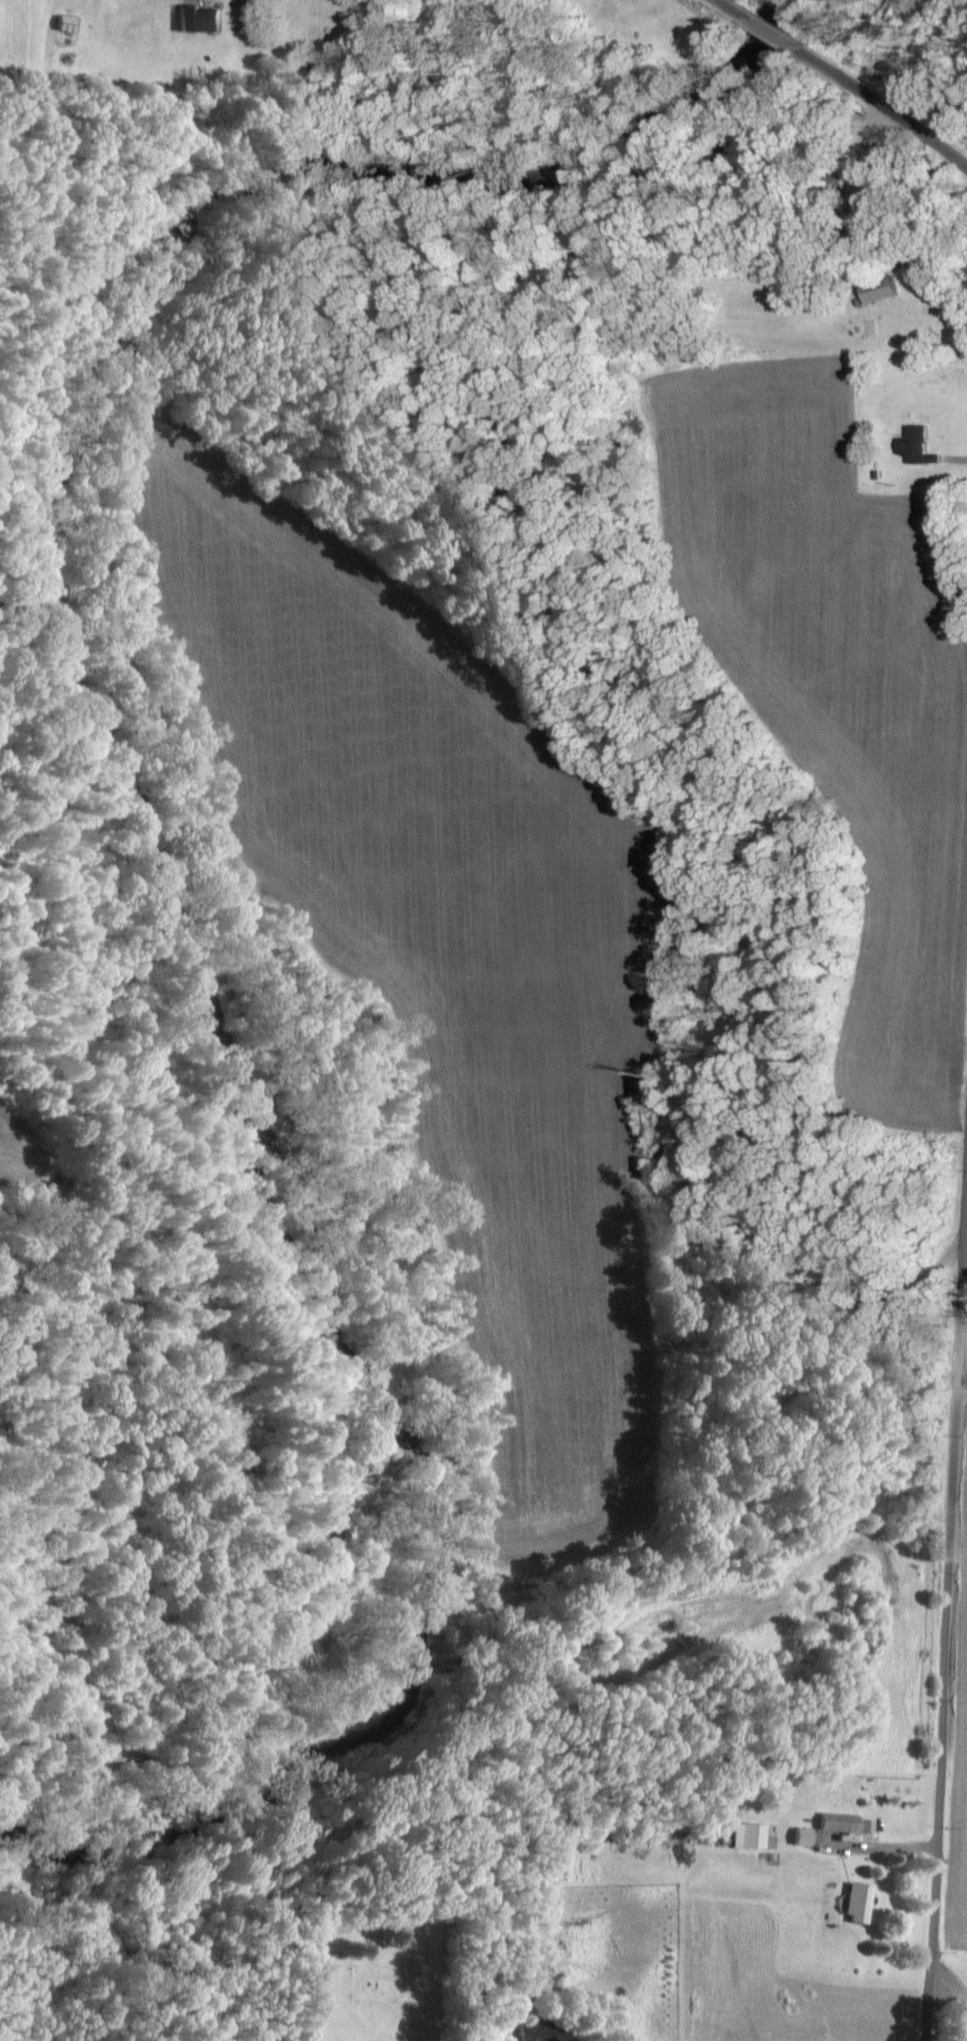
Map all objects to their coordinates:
road: (730, 7)
building: (201, 20)
building: (70, 24)
road: (770, 31)
road: (885, 104)
building: (916, 445)
road: (946, 1596)
building: (847, 1824)
building: (756, 1836)
building: (807, 1837)
building: (862, 1904)

